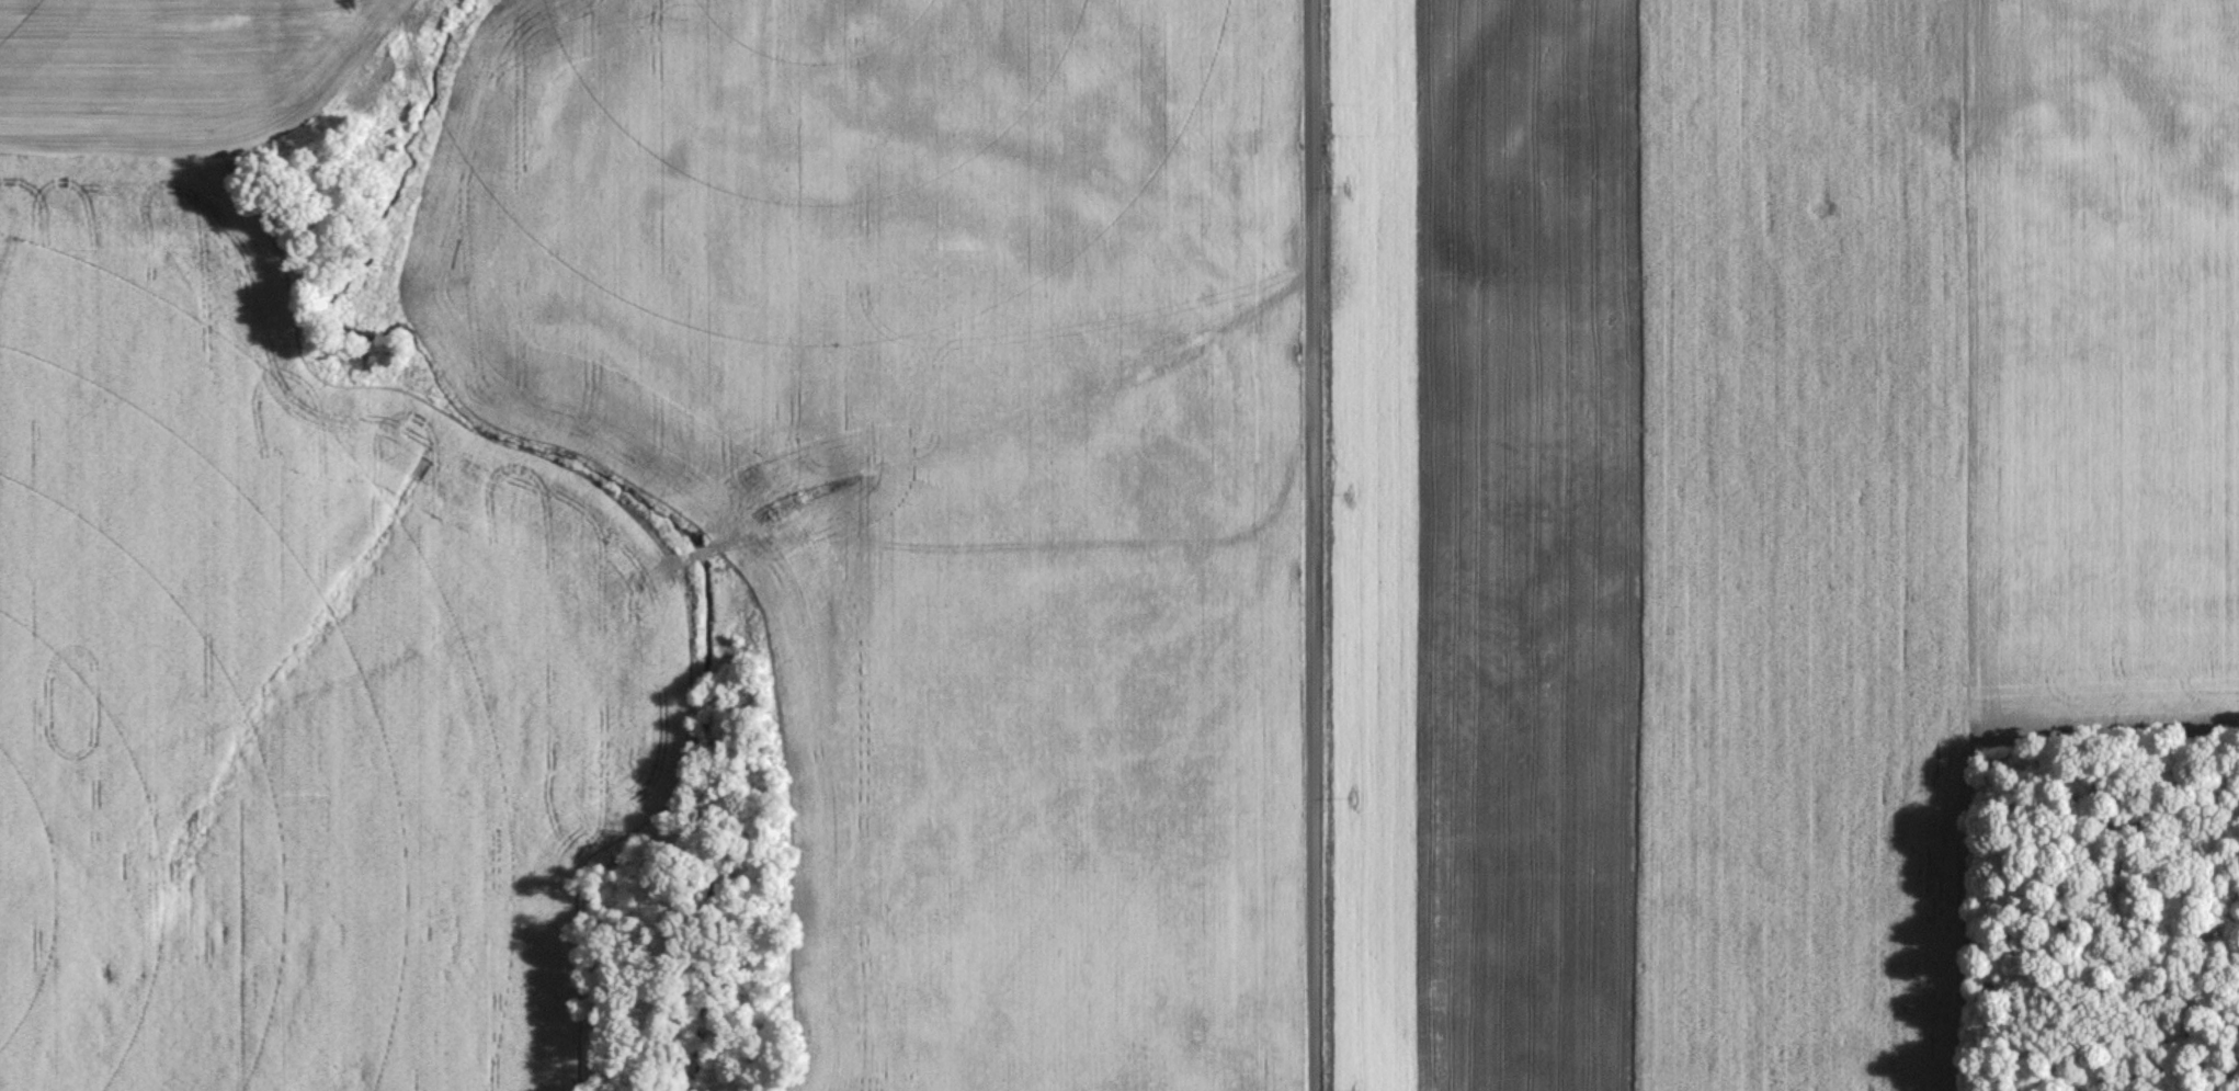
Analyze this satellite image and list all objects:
road: (1309, 545)

